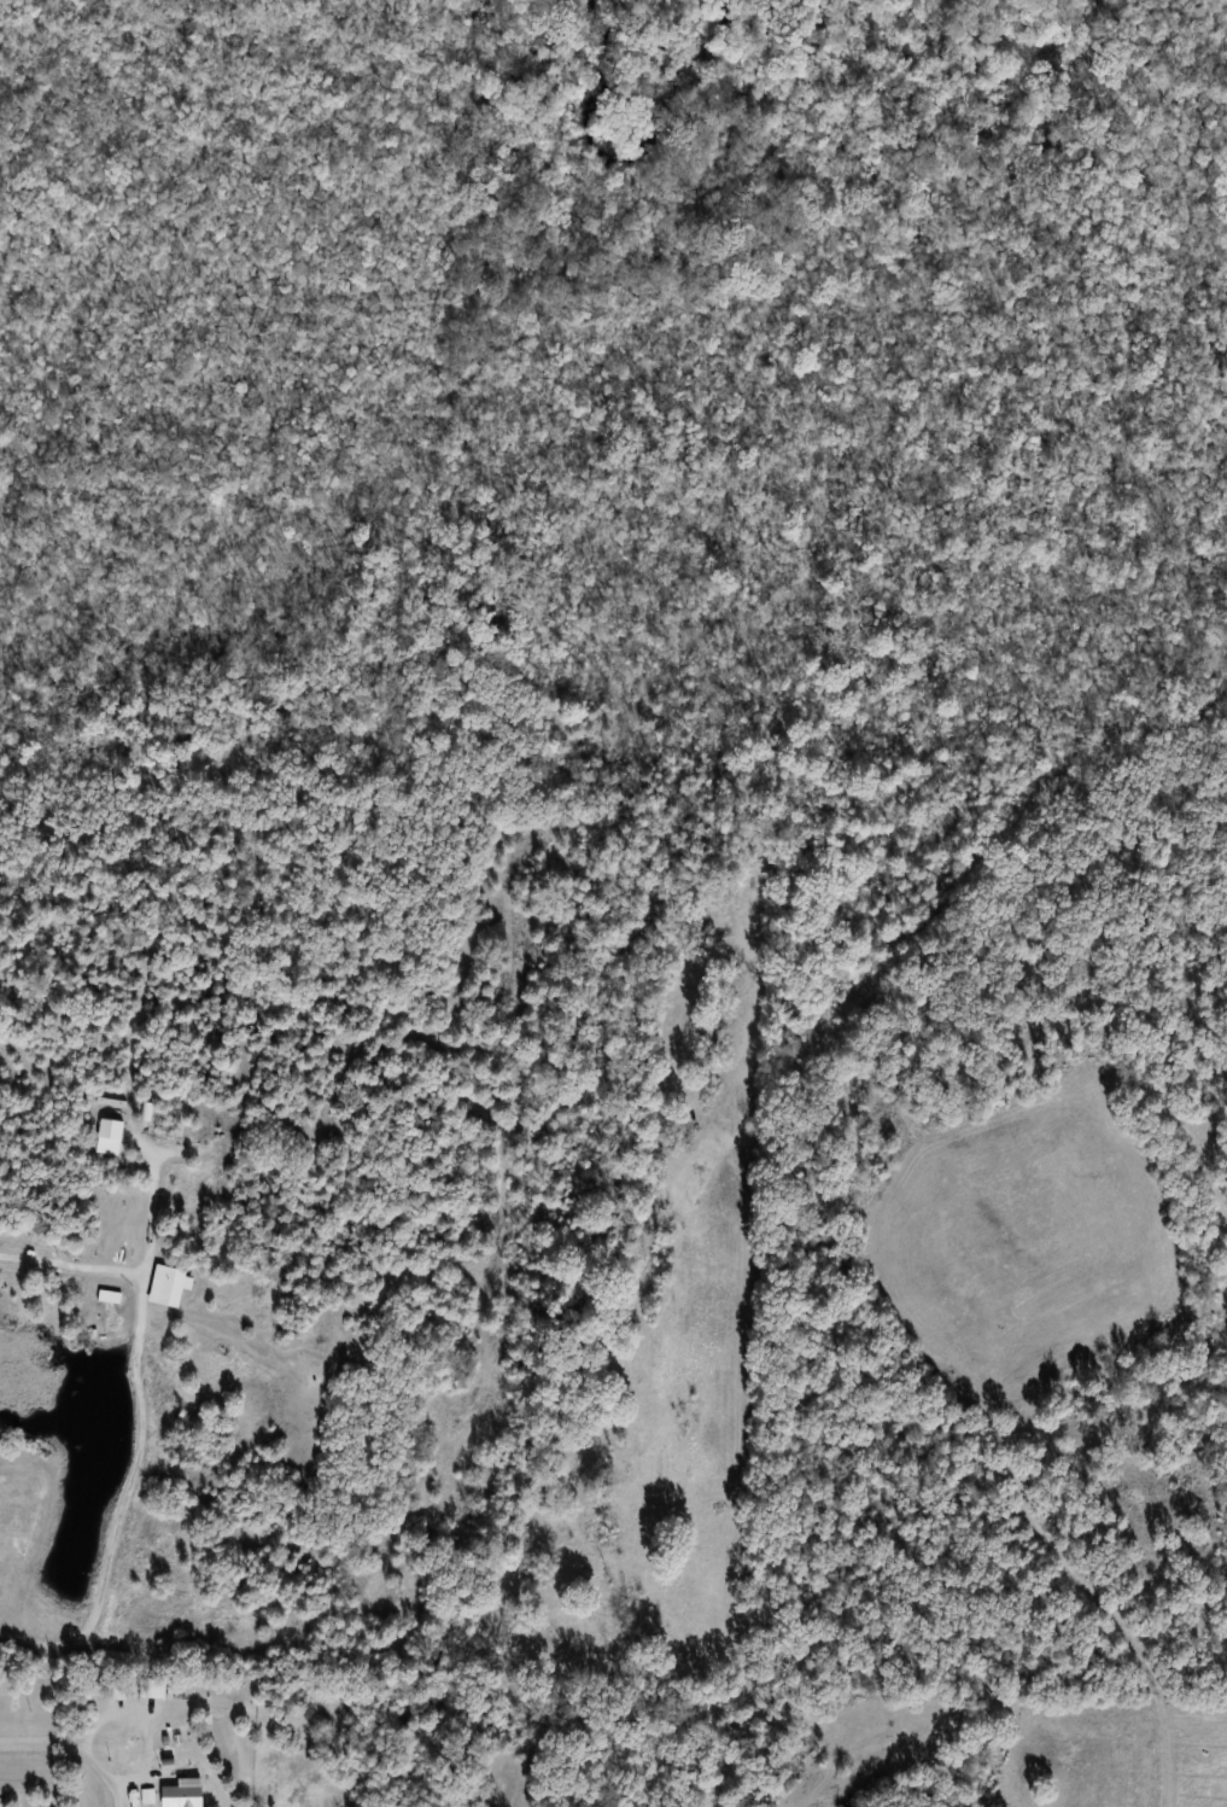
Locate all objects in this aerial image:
building: (106, 1137)
road: (154, 1207)
building: (169, 1288)
road: (141, 1435)
building: (148, 1687)
road: (71, 1750)
building: (180, 1793)

